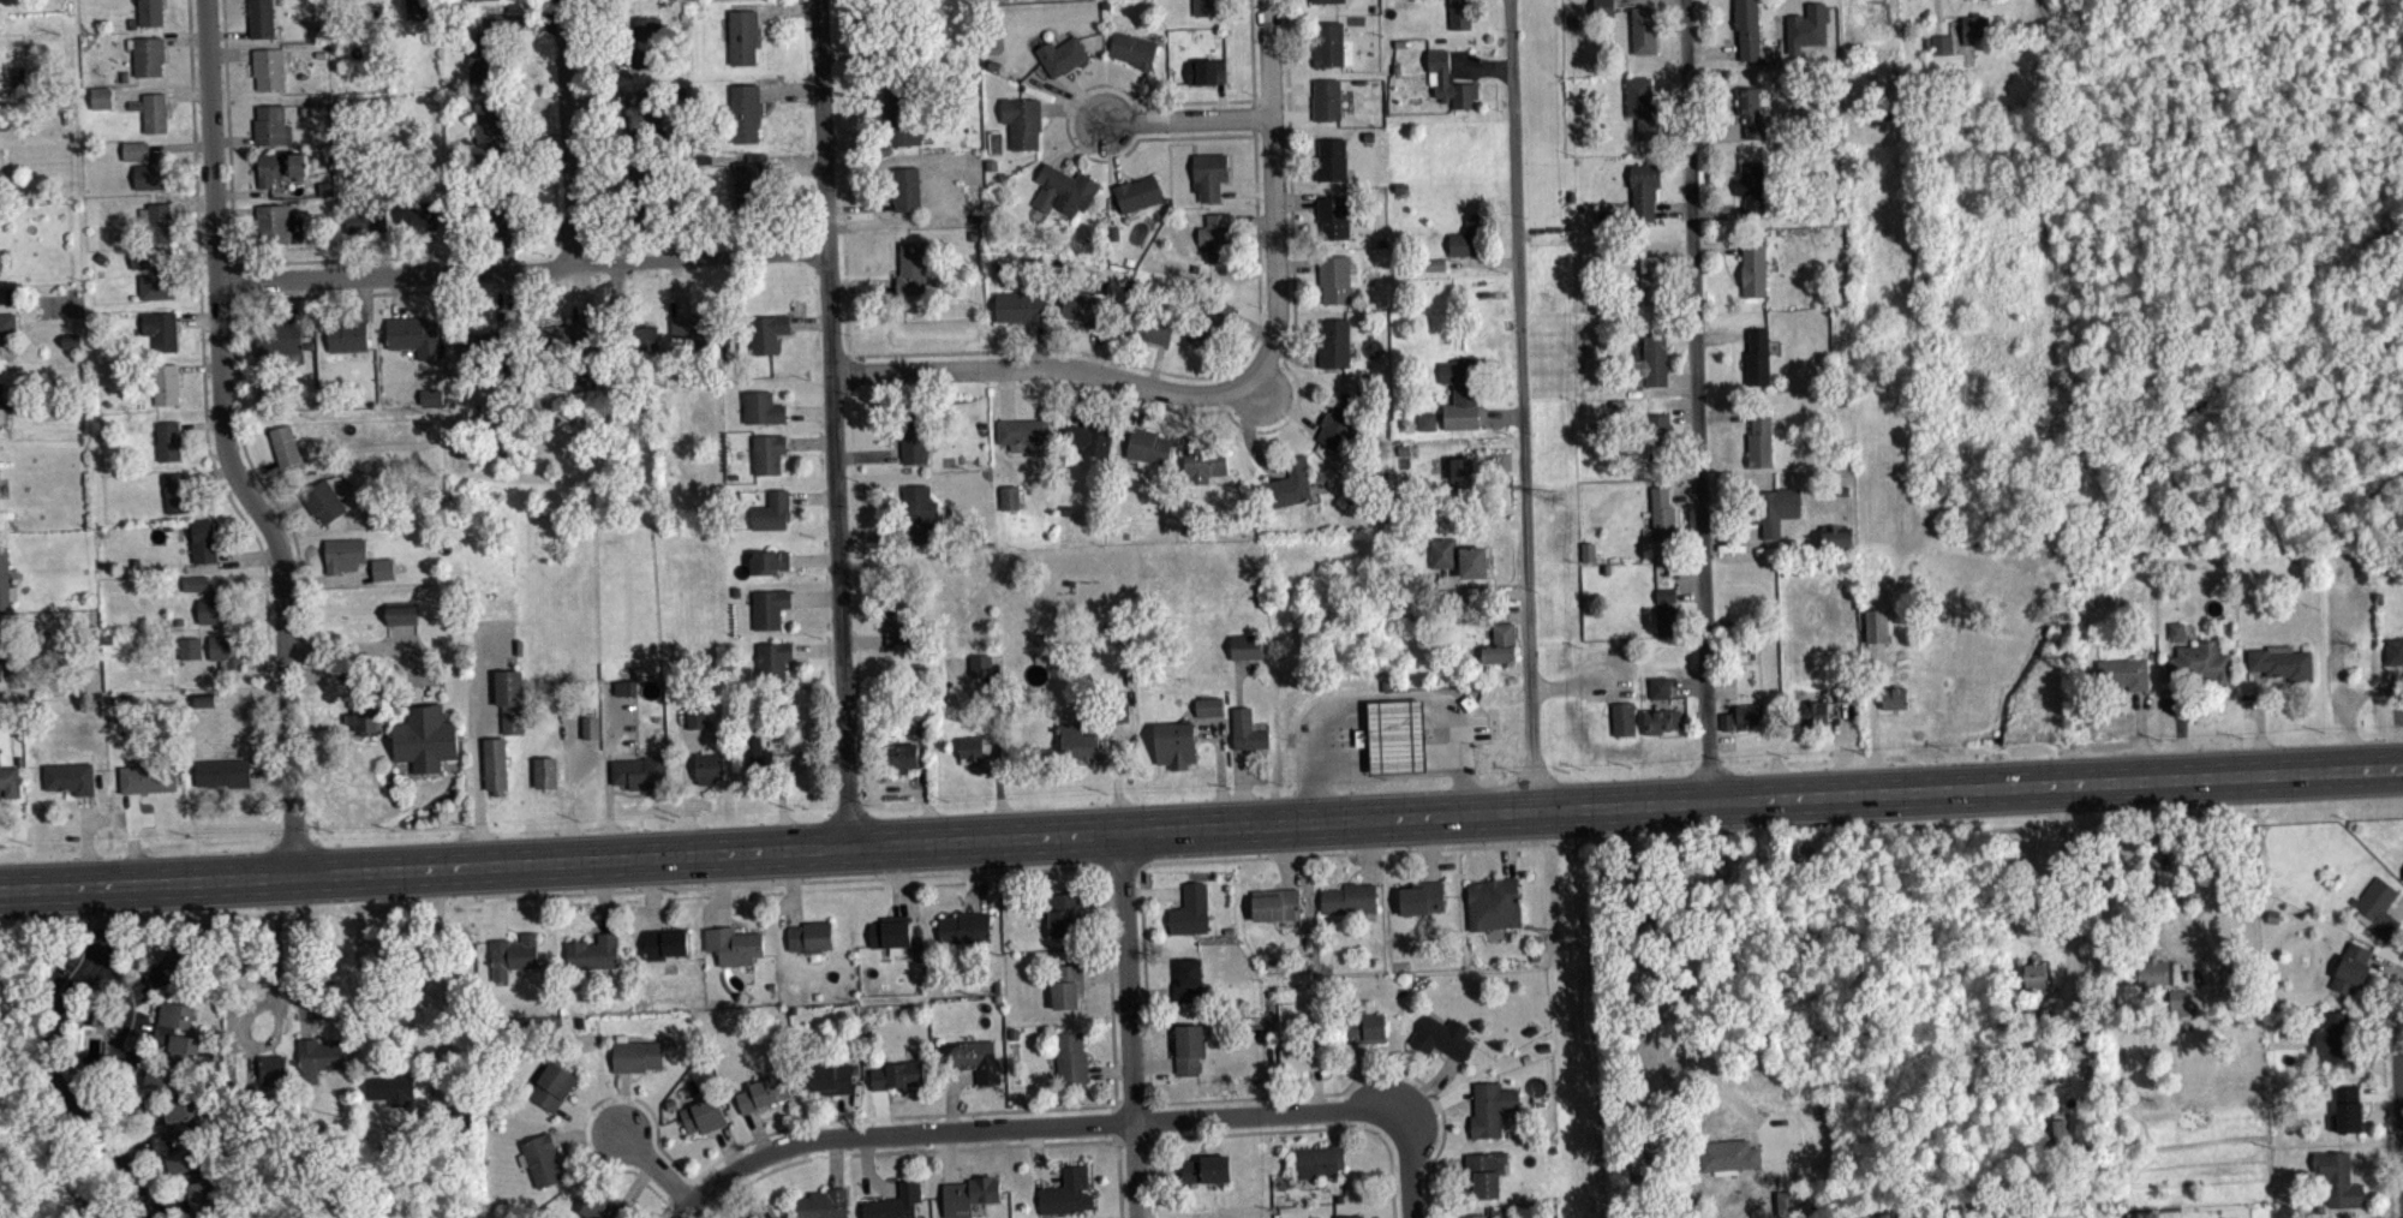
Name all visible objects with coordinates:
building: (474, 0)
building: (1327, 1)
building: (1207, 7)
building: (1602, 7)
building: (416, 10)
building: (150, 12)
building: (1459, 14)
building: (262, 18)
building: (1747, 28)
building: (1973, 28)
building: (1644, 30)
building: (1811, 34)
building: (743, 35)
building: (1943, 44)
building: (1332, 46)
building: (648, 48)
building: (1134, 49)
building: (148, 55)
building: (1062, 55)
building: (480, 58)
road: (2302, 59)
building: (269, 67)
road: (2250, 67)
building: (1206, 71)
building: (18, 76)
building: (1448, 80)
building: (1327, 100)
road: (2365, 105)
building: (103, 106)
building: (1643, 106)
building: (153, 111)
building: (746, 112)
building: (1751, 112)
building: (902, 117)
building: (640, 118)
road: (2384, 120)
building: (1022, 121)
building: (271, 125)
road: (1194, 125)
building: (490, 126)
road: (567, 133)
building: (136, 150)
building: (1332, 159)
building: (280, 167)
building: (153, 173)
building: (1209, 174)
building: (4, 178)
building: (646, 184)
building: (749, 187)
building: (905, 189)
building: (1644, 189)
building: (1064, 190)
building: (1755, 190)
road: (1255, 191)
building: (1137, 193)
road: (1278, 198)
building: (1333, 216)
building: (157, 221)
building: (273, 222)
building: (419, 222)
building: (504, 222)
building: (370, 229)
building: (1218, 238)
building: (1466, 238)
road: (232, 247)
building: (0, 262)
building: (1436, 263)
building: (911, 268)
road: (525, 269)
building: (1753, 270)
building: (154, 273)
building: (1334, 279)
building: (1655, 280)
building: (1022, 306)
building: (1084, 308)
building: (7, 323)
building: (1208, 323)
building: (1150, 328)
building: (161, 329)
building: (699, 332)
building: (767, 332)
building: (347, 335)
building: (416, 335)
building: (279, 338)
road: (238, 339)
building: (629, 340)
building: (561, 342)
building: (1334, 342)
building: (485, 346)
building: (1758, 357)
road: (203, 358)
building: (1649, 358)
road: (1052, 370)
road: (1290, 372)
building: (165, 383)
building: (1, 392)
building: (1460, 393)
building: (434, 402)
road: (1702, 402)
road: (1526, 406)
building: (763, 407)
building: (1, 414)
building: (1427, 420)
road: (835, 423)
building: (1341, 425)
building: (1026, 434)
building: (1658, 436)
building: (1089, 437)
building: (168, 440)
building: (914, 440)
building: (1761, 440)
building: (285, 443)
road: (232, 444)
building: (1148, 446)
building: (767, 453)
building: (1205, 465)
building: (1466, 477)
building: (1291, 483)
building: (2, 486)
building: (0, 492)
building: (177, 492)
building: (1009, 497)
building: (322, 501)
power tower: (1556, 502)
road: (2363, 507)
building: (1774, 508)
building: (772, 511)
building: (1662, 513)
building: (917, 514)
building: (1836, 537)
building: (203, 541)
building: (343, 554)
building: (1460, 556)
building: (1591, 559)
building: (769, 561)
building: (383, 568)
building: (5, 581)
building: (196, 583)
building: (213, 608)
building: (770, 608)
building: (401, 613)
building: (1667, 613)
building: (897, 625)
building: (1876, 626)
building: (2176, 631)
building: (1501, 644)
building: (1245, 646)
building: (190, 647)
building: (226, 650)
building: (2393, 650)
building: (772, 661)
building: (1912, 661)
building: (2279, 661)
building: (0, 662)
building: (2202, 662)
building: (980, 664)
building: (2123, 673)
building: (626, 686)
building: (1660, 687)
building: (628, 693)
building: (1846, 694)
building: (1894, 697)
building: (204, 699)
building: (509, 699)
building: (1208, 706)
building: (207, 707)
building: (364, 711)
building: (1815, 714)
building: (695, 716)
building: (1743, 716)
building: (1622, 718)
building: (1661, 720)
building: (590, 722)
building: (1247, 729)
gas station: (1395, 735)
building: (425, 738)
building: (1076, 739)
building: (1174, 744)
building: (970, 750)
building: (901, 757)
building: (758, 758)
building: (495, 764)
building: (707, 768)
building: (223, 771)
building: (545, 771)
building: (640, 771)
road: (479, 775)
building: (70, 777)
building: (148, 777)
building: (10, 781)
road: (1201, 828)
road: (2068, 890)
building: (1422, 897)
building: (1349, 898)
building: (1494, 903)
building: (1275, 904)
building: (2378, 906)
building: (1191, 909)
building: (1064, 914)
building: (964, 927)
building: (891, 933)
building: (809, 936)
power tower: (1568, 938)
building: (664, 942)
building: (734, 944)
road: (2169, 945)
building: (593, 951)
road: (281, 956)
building: (384, 956)
building: (510, 956)
building: (181, 967)
building: (2350, 968)
road: (1691, 972)
building: (2036, 975)
building: (1189, 981)
building: (2165, 981)
building: (1066, 986)
road: (124, 1001)
road: (1126, 1025)
building: (1358, 1027)
building: (1443, 1038)
building: (2336, 1039)
building: (184, 1040)
building: (1188, 1047)
building: (1298, 1053)
building: (636, 1055)
building: (319, 1057)
building: (1070, 1057)
building: (972, 1058)
road: (47, 1059)
road: (2401, 1059)
building: (273, 1067)
building: (897, 1075)
building: (831, 1077)
building: (342, 1085)
building: (554, 1086)
building: (394, 1088)
building: (764, 1092)
building: (1490, 1107)
building: (2345, 1109)
building: (703, 1115)
building: (184, 1124)
road: (1036, 1124)
building: (2058, 1132)
building: (1727, 1154)
building: (542, 1159)
building: (1319, 1162)
road: (1405, 1163)
building: (187, 1165)
road: (652, 1165)
building: (1206, 1169)
building: (1483, 1174)
building: (2337, 1178)
building: (1068, 1193)
building: (968, 1194)
building: (203, 1202)
building: (895, 1202)
building: (823, 1204)
building: (600, 1207)
building: (1788, 1207)
road: (681, 1208)
building: (761, 1213)
building: (1476, 1216)
building: (1347, 1217)

